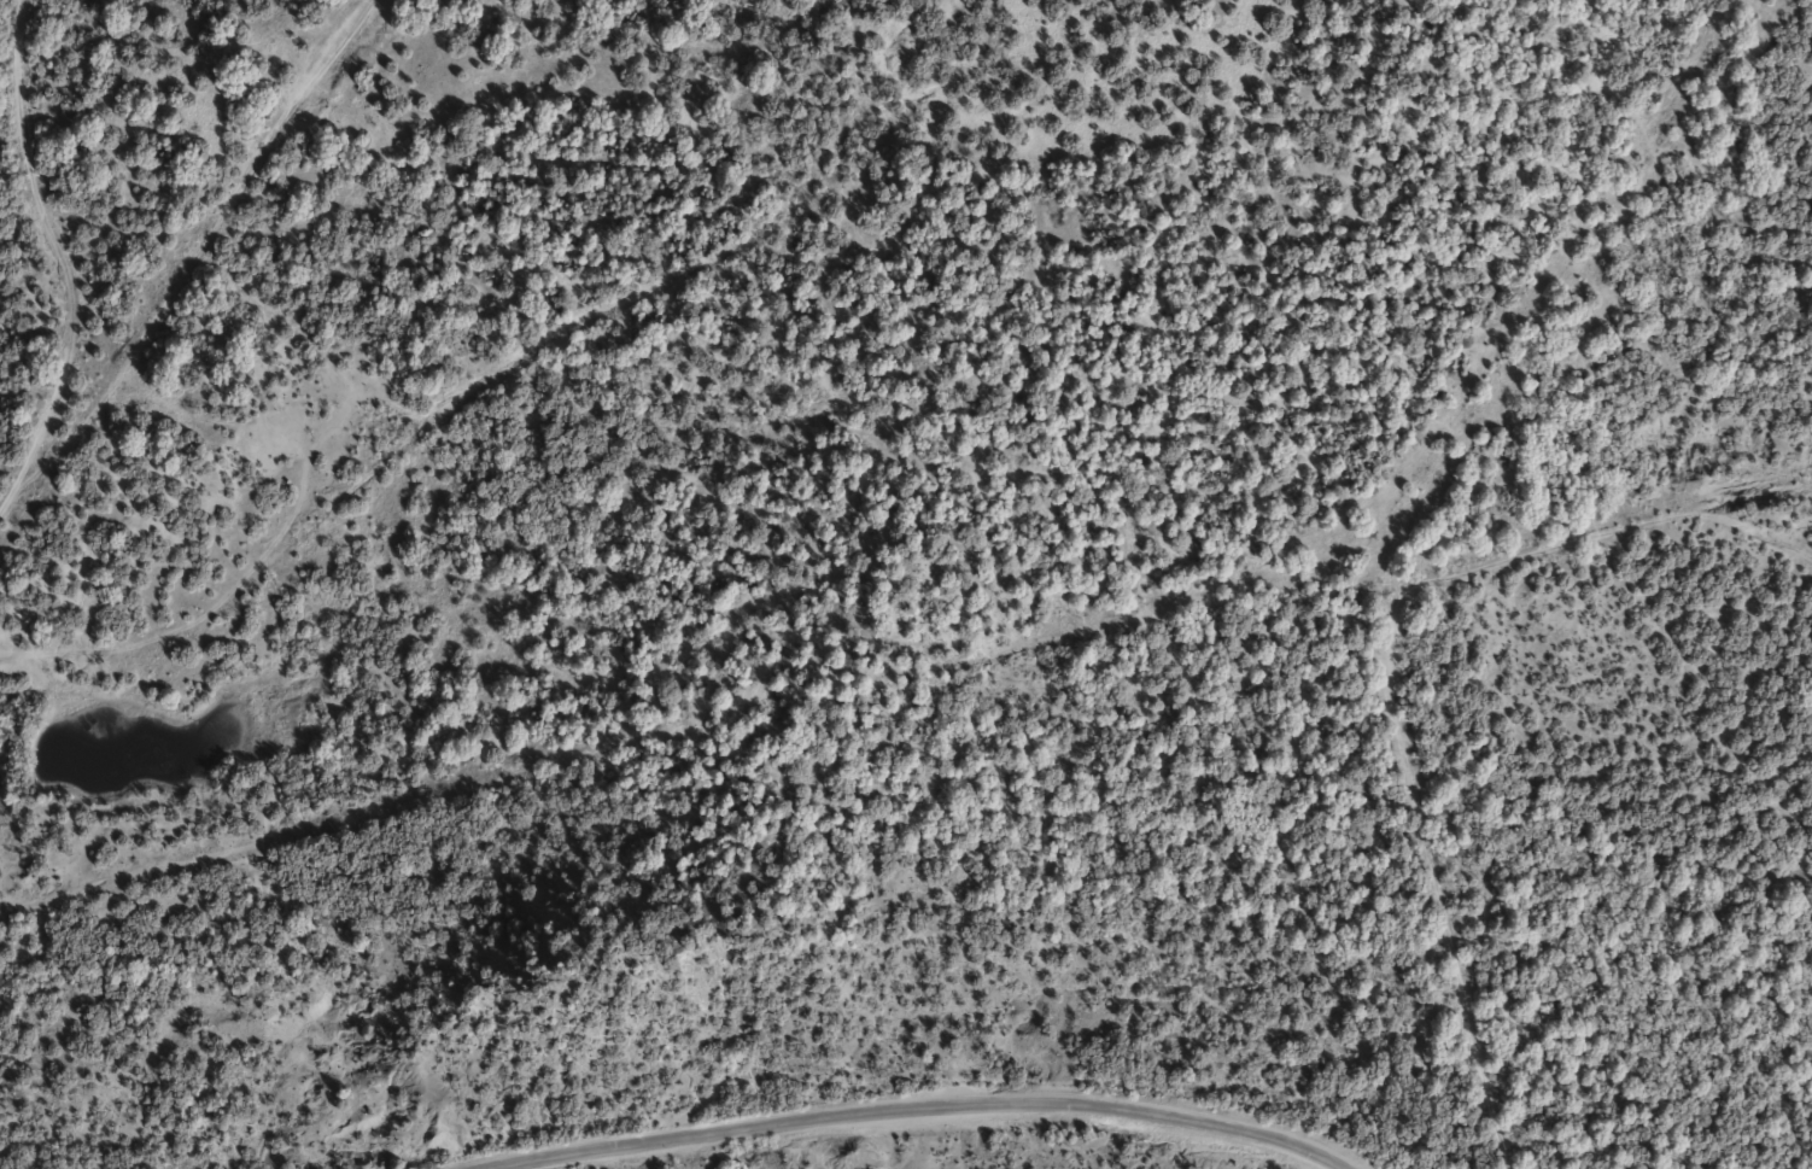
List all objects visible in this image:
park: (801, 959)
road: (911, 1111)

